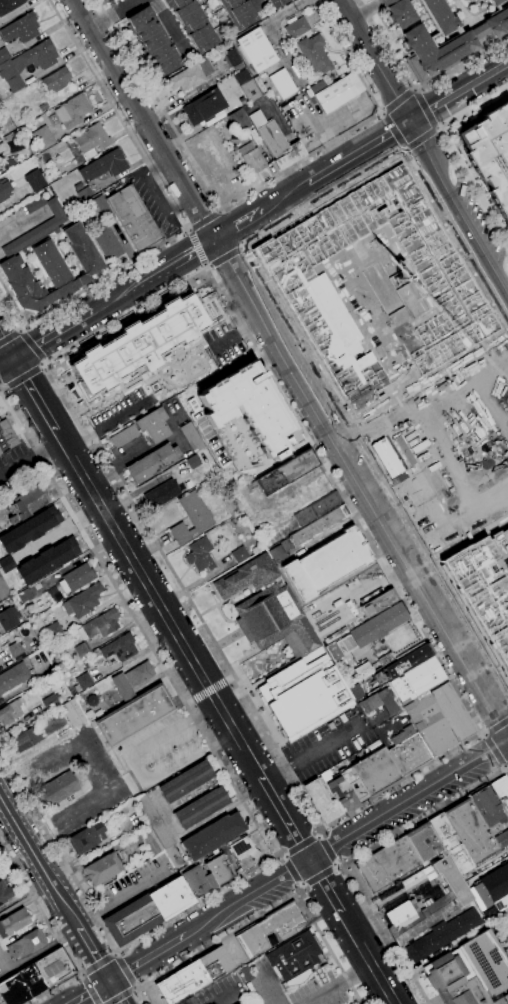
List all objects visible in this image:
building: (409, 1)
building: (496, 2)
building: (277, 3)
building: (9, 5)
road: (261, 6)
building: (499, 8)
road: (365, 9)
road: (112, 12)
building: (239, 12)
building: (399, 12)
flagpole: (304, 13)
building: (440, 15)
road: (465, 16)
building: (497, 22)
building: (193, 24)
road: (168, 25)
building: (21, 28)
building: (297, 28)
road: (403, 29)
building: (437, 29)
building: (479, 31)
building: (153, 41)
road: (488, 46)
building: (257, 49)
building: (434, 51)
building: (314, 53)
building: (4, 55)
building: (232, 57)
building: (27, 63)
building: (191, 75)
building: (57, 80)
building: (260, 84)
building: (282, 84)
building: (247, 85)
building: (317, 87)
road: (415, 87)
road: (415, 88)
road: (459, 91)
building: (337, 92)
road: (399, 101)
building: (42, 106)
building: (204, 107)
road: (425, 108)
road: (470, 108)
building: (72, 111)
road: (381, 113)
road: (147, 119)
building: (239, 121)
traffic signals: (411, 121)
road: (403, 126)
road: (438, 127)
road: (395, 130)
building: (0, 137)
road: (421, 137)
building: (43, 138)
building: (277, 142)
building: (88, 143)
road: (425, 147)
road: (404, 150)
building: (490, 153)
road: (351, 158)
building: (254, 161)
building: (8, 164)
building: (104, 165)
building: (35, 180)
building: (76, 185)
building: (4, 190)
road: (252, 190)
road: (474, 190)
building: (84, 193)
road: (155, 193)
road: (283, 199)
building: (103, 208)
road: (220, 211)
road: (179, 218)
building: (135, 219)
road: (204, 221)
building: (47, 226)
road: (238, 226)
road: (230, 227)
road: (187, 229)
traffic signals: (217, 239)
building: (106, 242)
road: (196, 246)
road: (242, 246)
road: (225, 256)
road: (180, 259)
road: (205, 264)
road: (209, 265)
road: (202, 268)
building: (52, 271)
building: (302, 289)
road: (120, 296)
road: (250, 326)
road: (23, 329)
road: (55, 335)
road: (9, 337)
road: (225, 342)
building: (138, 344)
road: (31, 345)
road: (191, 346)
road: (7, 348)
road: (269, 358)
traffic signals: (15, 360)
road: (43, 360)
road: (203, 361)
road: (7, 364)
road: (168, 364)
road: (41, 366)
road: (186, 373)
road: (23, 377)
road: (175, 385)
road: (3, 388)
road: (117, 389)
road: (35, 394)
building: (250, 410)
road: (121, 416)
building: (144, 428)
building: (7, 436)
building: (191, 437)
road: (80, 439)
road: (30, 455)
building: (385, 457)
building: (153, 463)
road: (375, 465)
building: (286, 472)
road: (361, 485)
building: (162, 493)
building: (28, 503)
building: (231, 505)
building: (317, 508)
building: (196, 511)
building: (506, 521)
building: (319, 525)
building: (29, 529)
building: (180, 533)
building: (277, 553)
building: (240, 554)
building: (200, 555)
building: (47, 560)
building: (327, 563)
building: (6, 564)
building: (77, 578)
building: (4, 590)
building: (483, 592)
building: (52, 594)
building: (24, 596)
road: (159, 600)
building: (83, 601)
building: (379, 603)
building: (268, 608)
building: (9, 618)
road: (136, 622)
building: (100, 625)
flagpole: (407, 628)
building: (54, 630)
building: (368, 631)
flagpole: (409, 631)
building: (120, 648)
building: (82, 649)
building: (15, 650)
building: (386, 658)
building: (404, 663)
building: (362, 668)
building: (13, 677)
building: (131, 679)
road: (231, 680)
building: (417, 680)
building: (83, 682)
road: (210, 691)
building: (304, 694)
building: (90, 700)
road: (189, 702)
building: (378, 702)
building: (50, 703)
building: (12, 711)
building: (453, 711)
building: (72, 712)
building: (135, 715)
building: (53, 722)
building: (429, 724)
road: (497, 726)
road: (484, 733)
building: (25, 739)
parking lot: (327, 745)
road: (496, 749)
building: (408, 751)
road: (314, 753)
road: (507, 764)
road: (506, 767)
building: (376, 772)
building: (185, 781)
building: (130, 784)
building: (353, 784)
building: (58, 789)
building: (339, 790)
building: (501, 791)
building: (322, 799)
building: (488, 807)
building: (202, 808)
road: (285, 816)
building: (155, 821)
building: (471, 830)
road: (321, 832)
building: (213, 835)
road: (345, 835)
building: (87, 838)
building: (502, 839)
building: (151, 841)
building: (423, 842)
building: (451, 844)
road: (302, 847)
road: (31, 849)
building: (244, 849)
road: (58, 850)
road: (326, 850)
road: (280, 856)
building: (174, 857)
road: (356, 858)
building: (397, 858)
road: (339, 865)
building: (103, 869)
building: (219, 869)
road: (294, 870)
building: (373, 873)
road: (318, 874)
building: (199, 880)
road: (324, 885)
building: (492, 886)
road: (301, 889)
building: (4, 893)
building: (171, 898)
road: (122, 899)
road: (194, 902)
building: (501, 902)
building: (429, 904)
road: (264, 913)
road: (70, 916)
building: (131, 920)
building: (13, 922)
parking lot: (497, 922)
building: (269, 928)
road: (54, 932)
building: (442, 935)
building: (26, 944)
road: (115, 952)
road: (37, 954)
road: (93, 954)
road: (147, 957)
road: (367, 958)
building: (296, 960)
building: (486, 963)
road: (97, 964)
building: (54, 968)
road: (124, 970)
road: (81, 974)
building: (194, 975)
building: (452, 979)
traffic signals: (109, 980)
building: (31, 981)
road: (339, 984)
road: (136, 987)
road: (90, 989)
road: (272, 989)
building: (13, 991)
road: (116, 991)
road: (89, 992)
road: (119, 995)
building: (505, 997)

